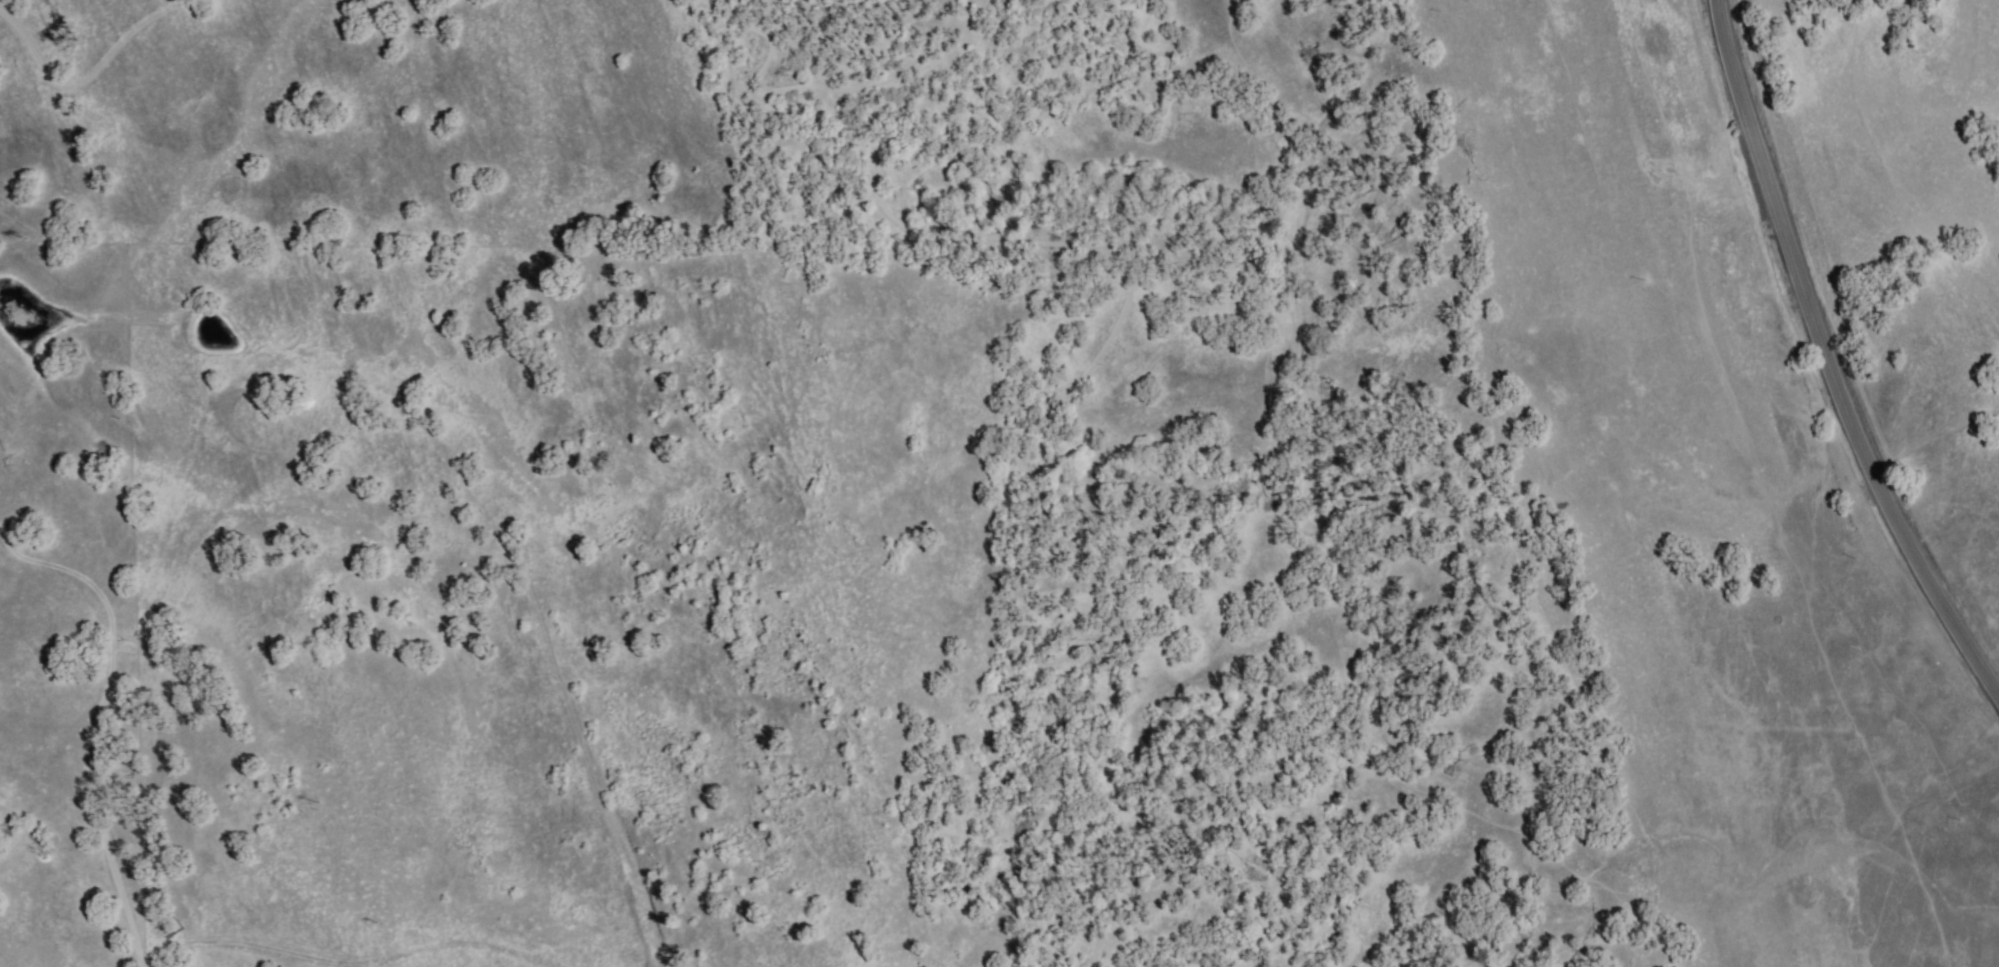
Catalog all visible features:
road: (82, 75)
road: (1827, 360)
road: (1058, 402)

